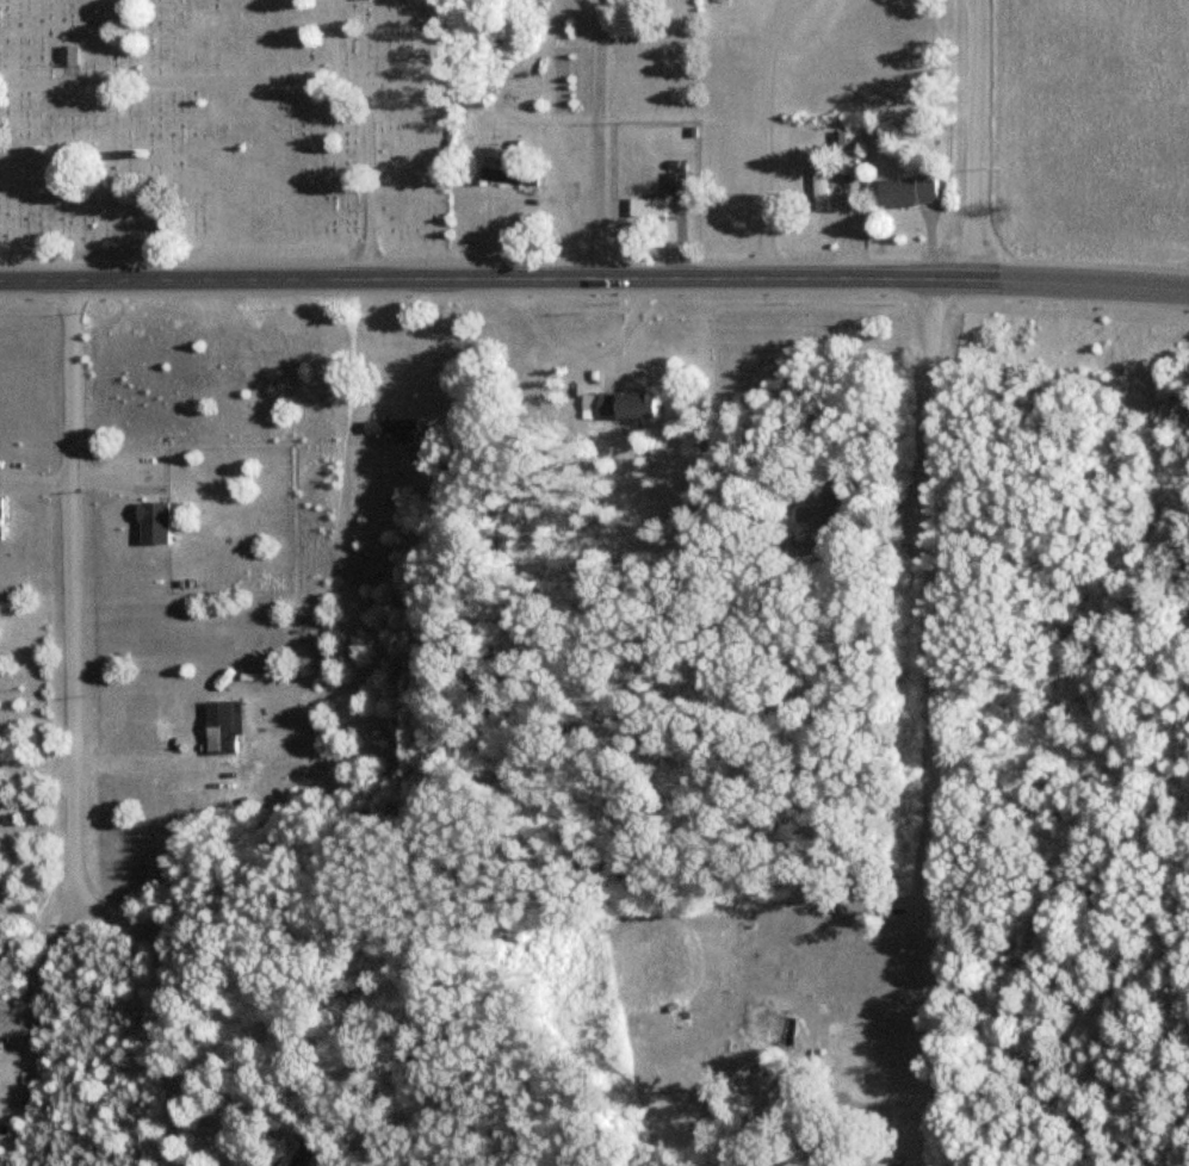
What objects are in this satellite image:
road: (974, 0)
building: (75, 55)
road: (167, 79)
building: (471, 101)
park: (223, 120)
road: (367, 135)
road: (766, 137)
road: (974, 139)
road: (597, 141)
building: (674, 184)
building: (816, 188)
building: (903, 192)
building: (644, 209)
road: (484, 281)
road: (1079, 285)
building: (627, 405)
building: (389, 428)
building: (420, 476)
building: (828, 510)
building: (1, 517)
road: (73, 597)
road: (928, 722)
building: (219, 727)
road: (137, 767)
road: (36, 770)
road: (44, 978)
road: (174, 1006)

